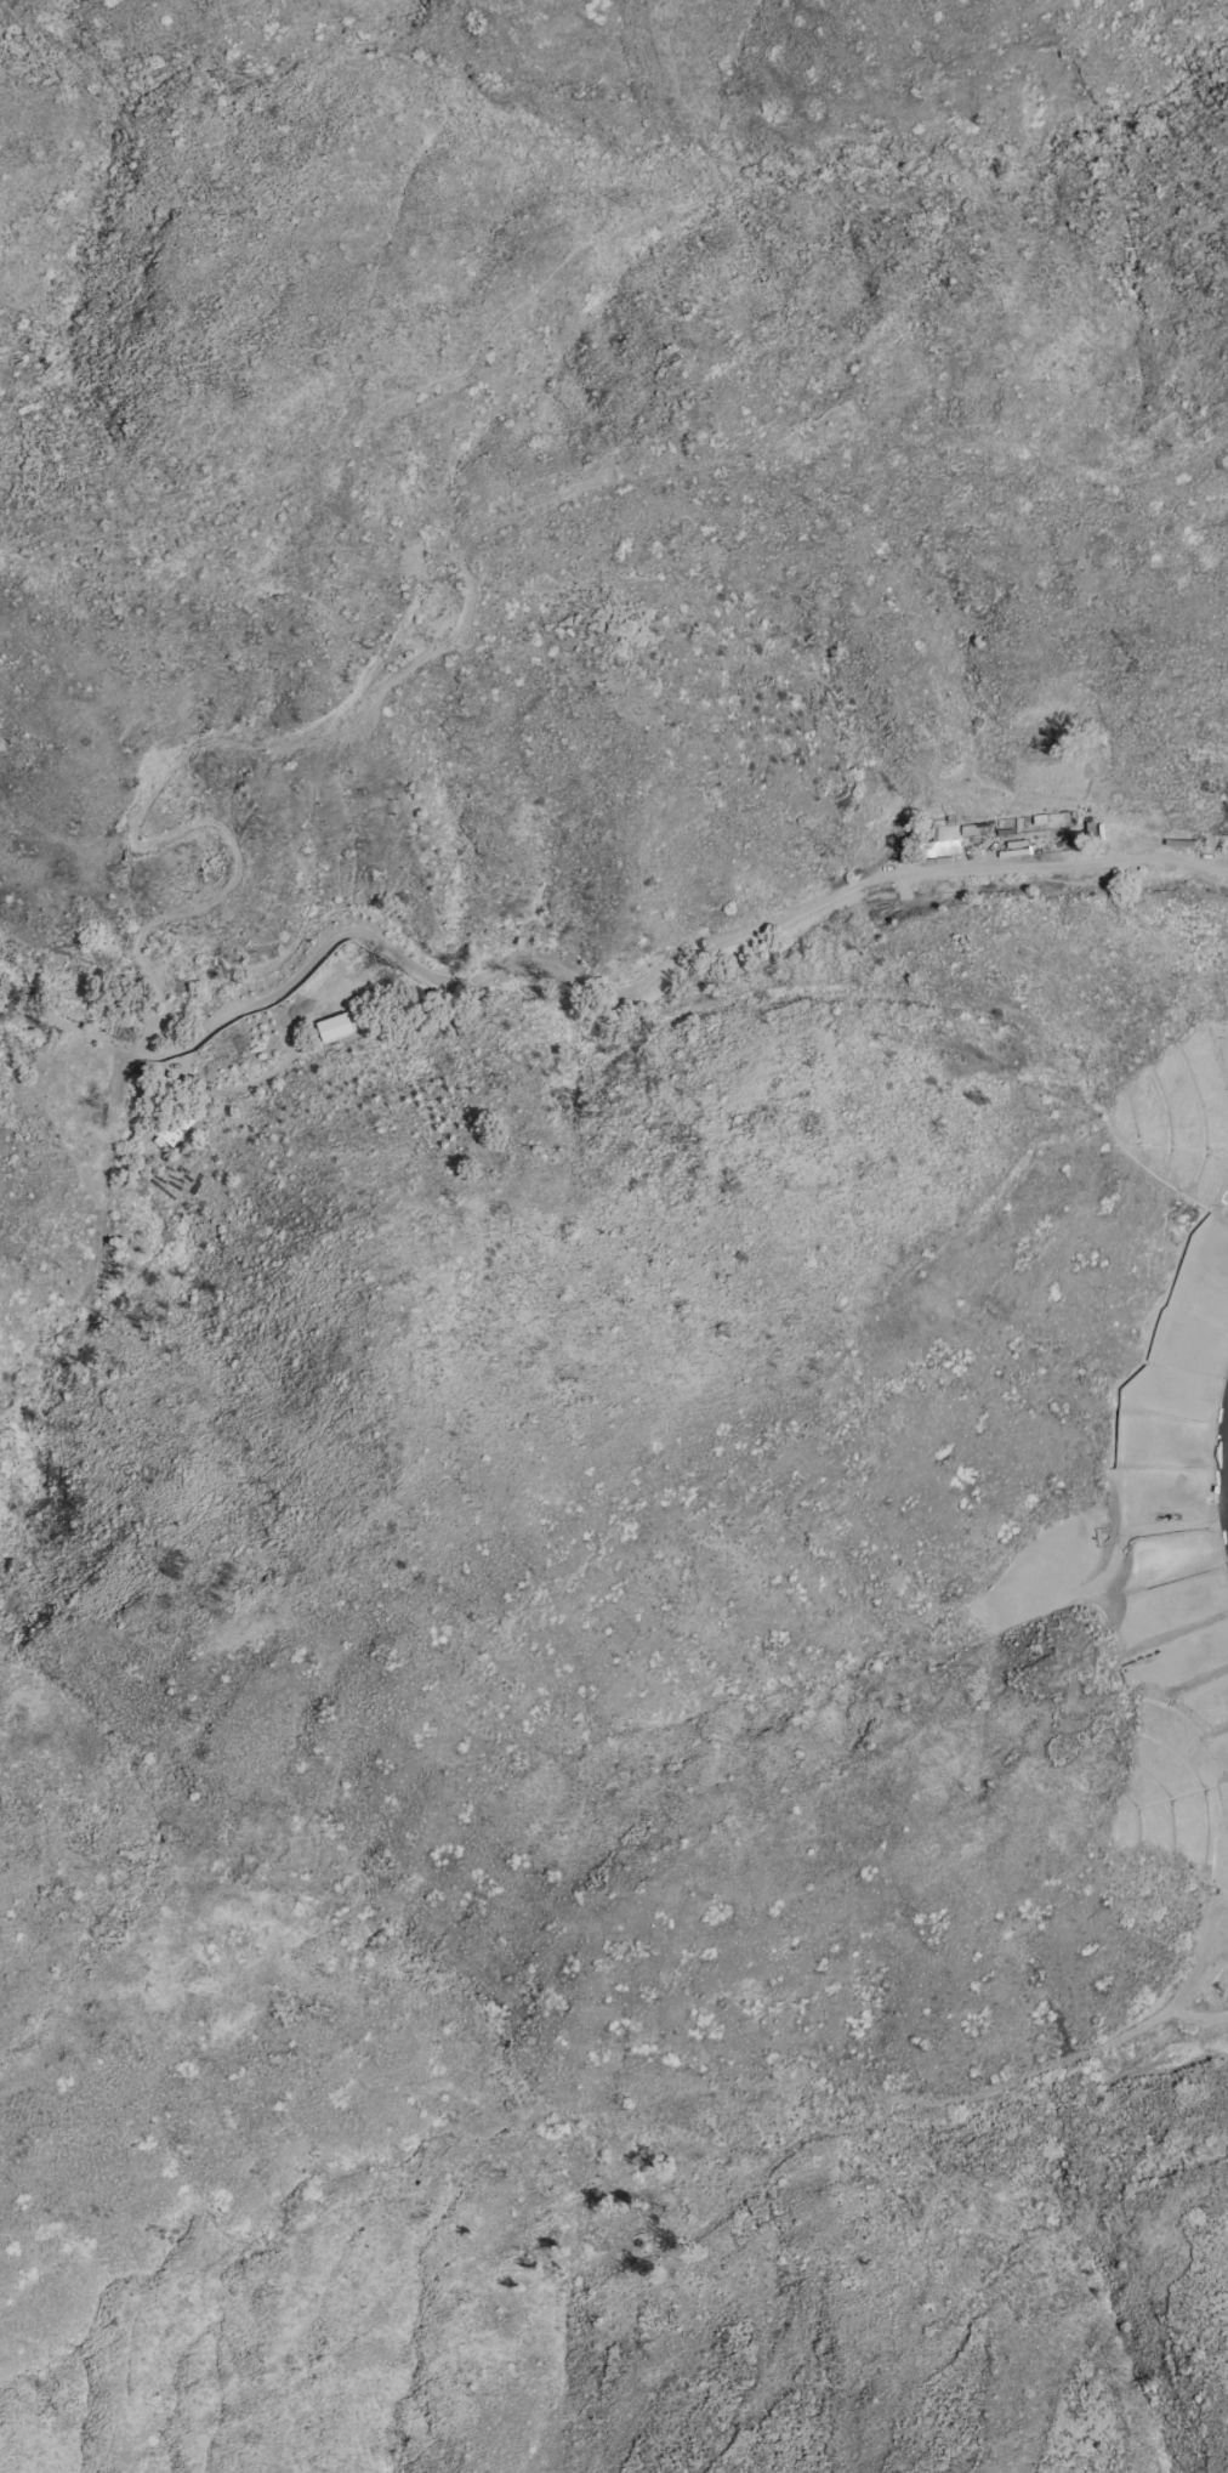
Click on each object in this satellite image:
road: (843, 438)
road: (440, 590)
road: (152, 790)
building: (973, 827)
building: (942, 839)
building: (1209, 839)
road: (1189, 862)
road: (555, 993)
building: (212, 1051)
building: (170, 1127)
building: (58, 1383)

